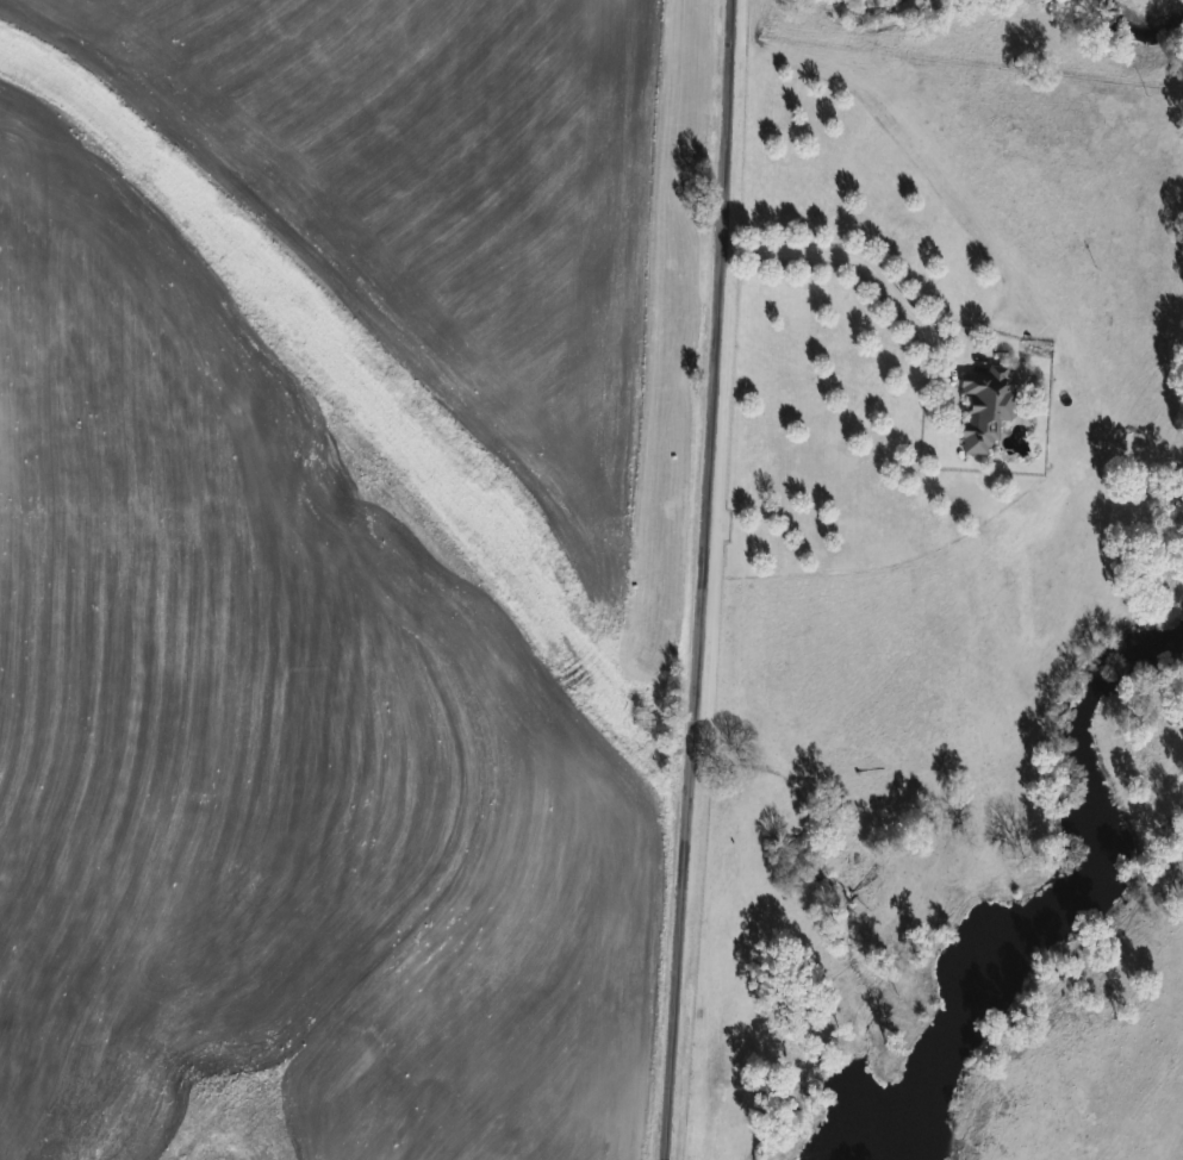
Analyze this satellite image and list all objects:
road: (851, 262)
building: (991, 407)
road: (702, 580)

